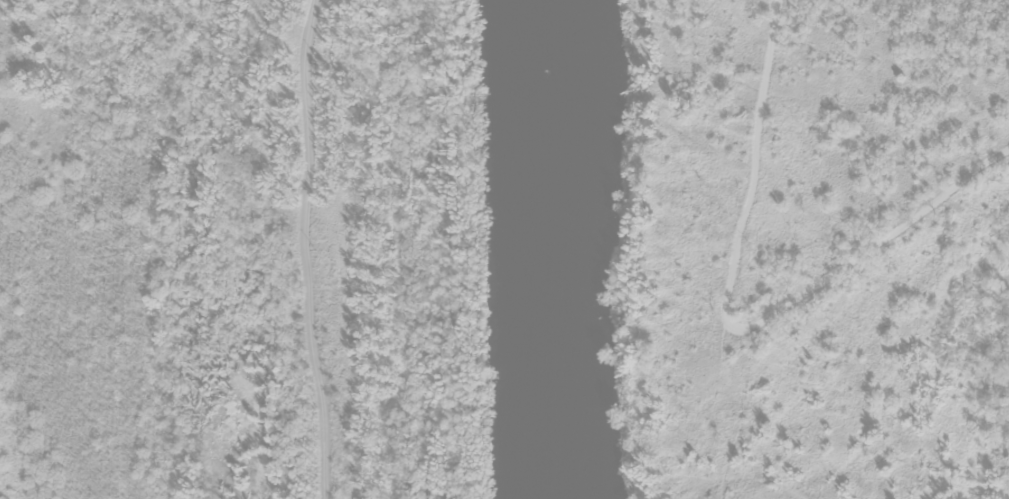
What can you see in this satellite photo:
river: (551, 248)

